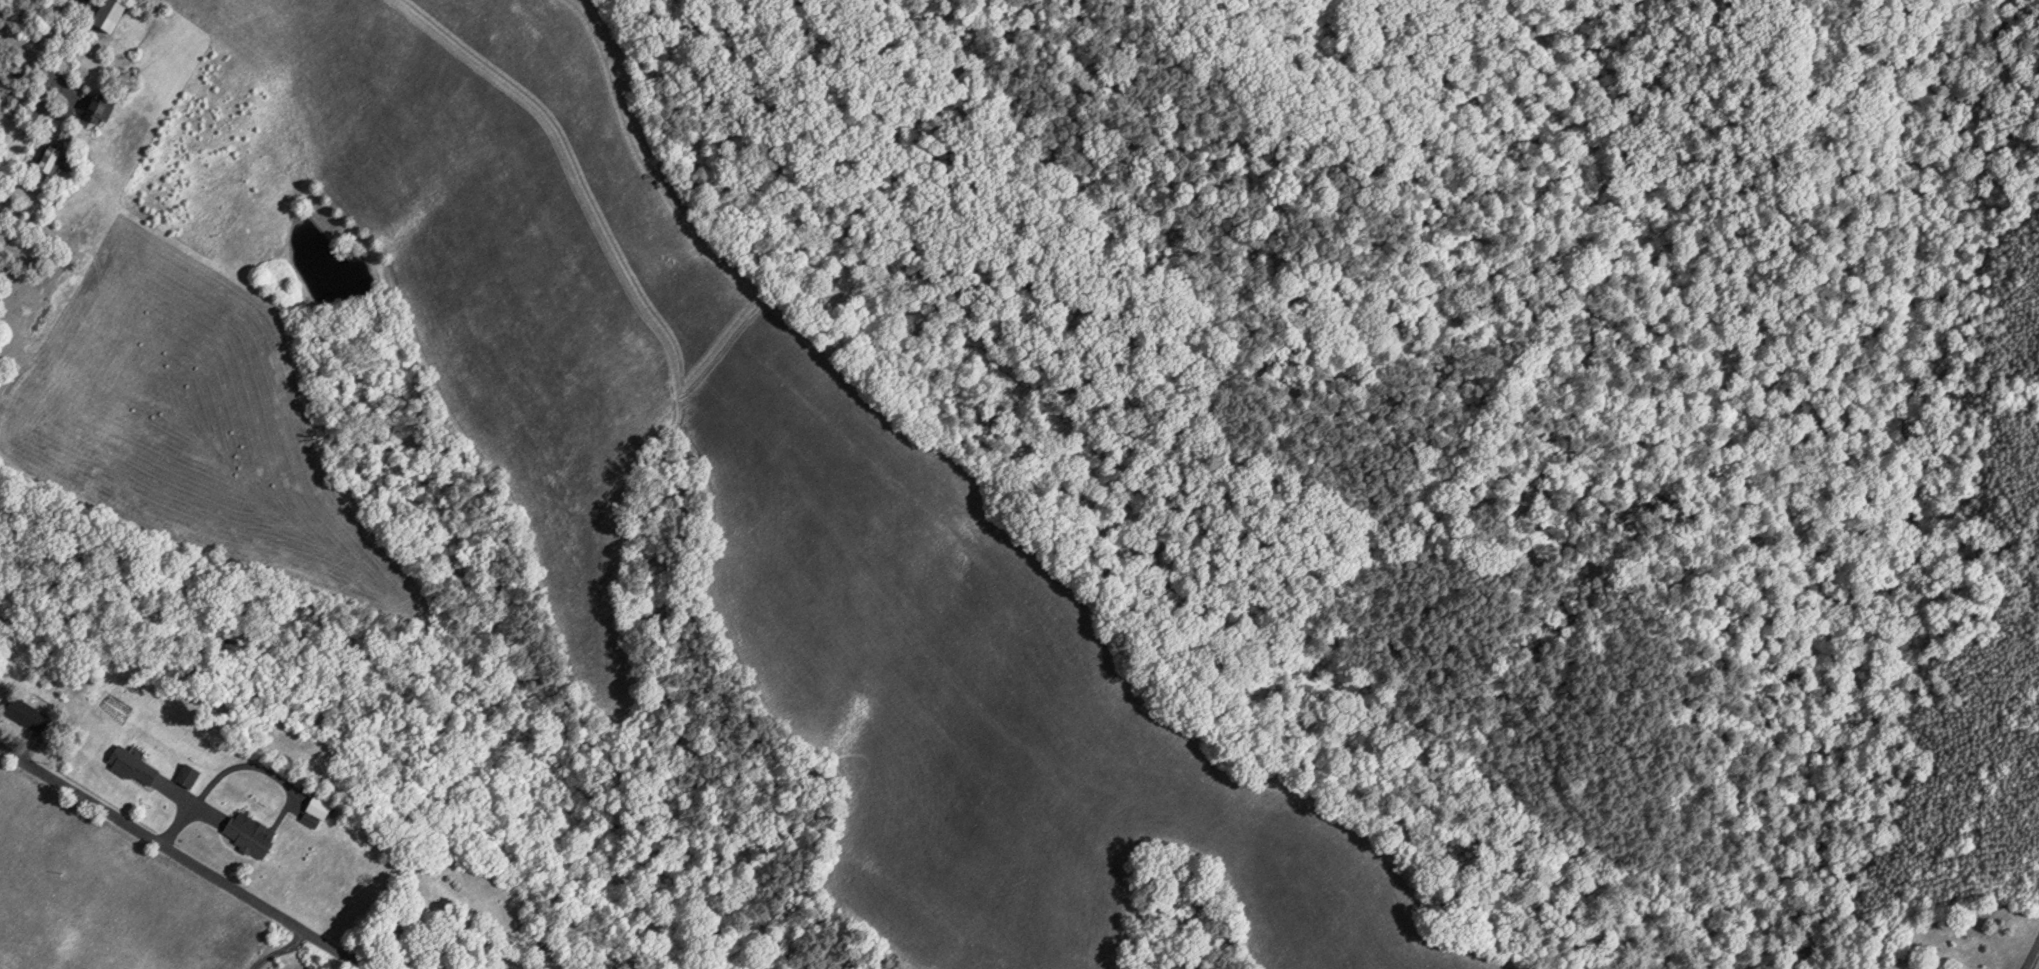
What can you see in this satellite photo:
building: (119, 13)
building: (106, 105)
building: (57, 158)
building: (30, 714)
building: (136, 765)
building: (192, 774)
building: (321, 806)
building: (252, 835)
road: (182, 858)
crop: (105, 897)
road: (279, 951)
road: (2032, 955)

